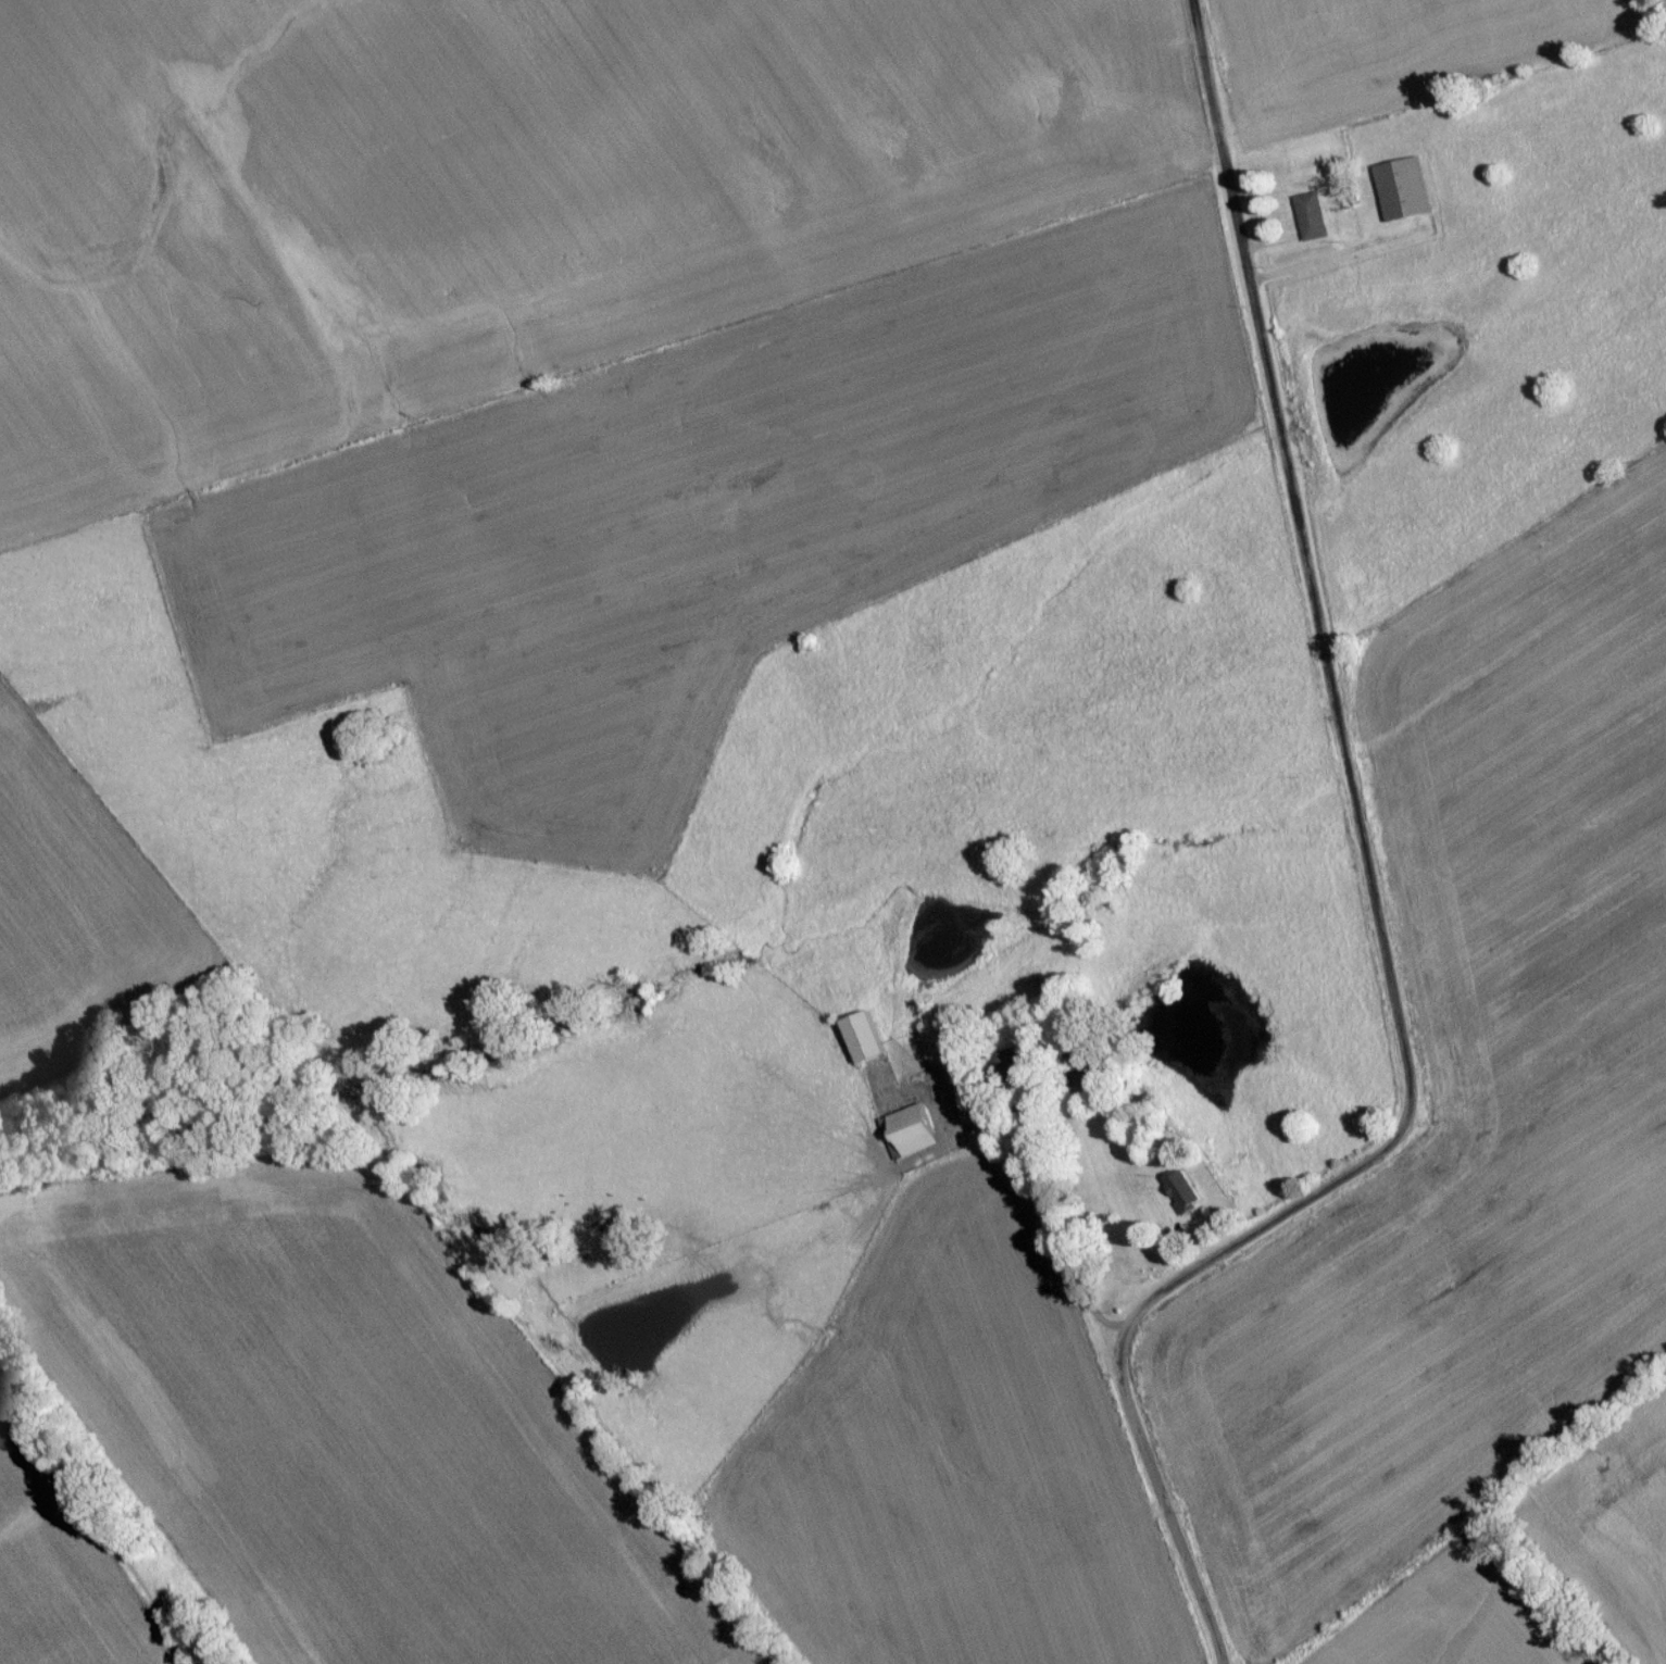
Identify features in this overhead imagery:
building: (1402, 195)
building: (1311, 222)
road: (1373, 909)
building: (863, 1043)
building: (1006, 1071)
building: (909, 1137)
road: (1062, 1233)

